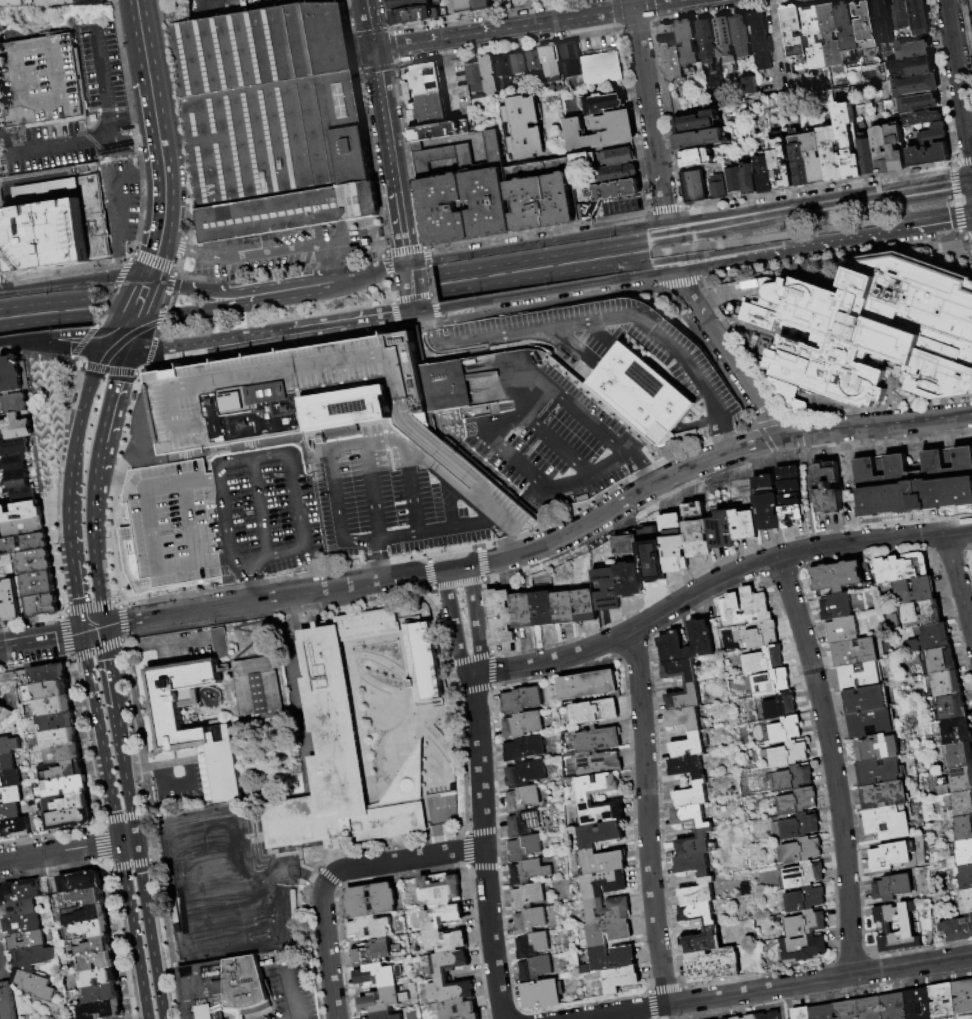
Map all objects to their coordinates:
building: (556, 0)
building: (522, 1)
building: (60, 2)
building: (94, 2)
building: (404, 3)
building: (971, 4)
building: (480, 5)
building: (464, 6)
road: (772, 7)
building: (415, 15)
road: (587, 15)
building: (901, 15)
building: (919, 17)
building: (883, 21)
building: (865, 22)
road: (369, 24)
building: (847, 28)
building: (795, 34)
road: (47, 35)
building: (831, 35)
building: (741, 37)
building: (813, 37)
road: (433, 40)
building: (706, 41)
building: (725, 41)
building: (759, 41)
building: (688, 43)
building: (912, 50)
building: (671, 52)
road: (779, 55)
building: (570, 58)
building: (534, 60)
building: (552, 63)
parking lot: (100, 66)
building: (519, 66)
building: (602, 68)
building: (906, 68)
road: (148, 70)
building: (504, 70)
building: (490, 75)
parking lot: (40, 76)
building: (475, 77)
road: (101, 78)
building: (428, 80)
road: (959, 80)
building: (40, 82)
building: (915, 85)
building: (748, 86)
building: (604, 103)
building: (918, 103)
road: (649, 109)
building: (431, 110)
building: (924, 118)
building: (272, 120)
road: (385, 120)
building: (695, 123)
building: (524, 127)
building: (440, 131)
building: (623, 131)
building: (933, 135)
building: (697, 139)
building: (847, 140)
road: (55, 144)
road: (128, 144)
building: (894, 148)
road: (585, 151)
building: (881, 151)
building: (831, 154)
road: (162, 155)
building: (459, 155)
building: (927, 155)
building: (866, 156)
building: (616, 157)
building: (695, 158)
building: (814, 159)
building: (799, 161)
building: (582, 164)
building: (780, 164)
road: (151, 174)
building: (616, 174)
building: (763, 174)
building: (733, 180)
building: (748, 180)
building: (692, 188)
building: (617, 190)
building: (717, 190)
road: (892, 194)
road: (165, 199)
parking lot: (121, 201)
building: (543, 202)
building: (488, 203)
road: (117, 206)
parking lot: (623, 206)
building: (445, 210)
building: (588, 211)
building: (94, 218)
building: (48, 227)
road: (402, 227)
road: (890, 227)
road: (609, 229)
road: (169, 238)
road: (623, 244)
flagpole: (949, 248)
road: (155, 254)
road: (258, 254)
road: (153, 259)
road: (622, 263)
road: (115, 268)
road: (122, 271)
road: (334, 272)
road: (365, 272)
road: (128, 279)
traffic signals: (144, 281)
road: (613, 282)
road: (56, 283)
road: (412, 287)
road: (298, 289)
road: (208, 290)
road: (150, 297)
road: (126, 301)
road: (44, 302)
road: (104, 308)
road: (206, 309)
traffic signals: (145, 315)
road: (158, 319)
road: (45, 320)
road: (129, 320)
road: (142, 320)
road: (432, 320)
road: (350, 321)
traffic signals: (114, 326)
building: (872, 329)
road: (530, 332)
road: (73, 333)
road: (120, 336)
road: (108, 338)
road: (132, 339)
road: (16, 341)
road: (80, 343)
road: (67, 345)
road: (205, 345)
traffic signals: (103, 350)
road: (114, 351)
traffic signals: (125, 352)
road: (728, 355)
road: (81, 367)
road: (104, 367)
road: (640, 368)
building: (13, 374)
road: (696, 376)
building: (2, 382)
road: (73, 383)
road: (296, 389)
road: (86, 391)
building: (637, 393)
road: (110, 394)
road: (631, 397)
building: (790, 397)
building: (13, 403)
building: (298, 403)
road: (50, 410)
building: (474, 410)
road: (176, 412)
road: (374, 414)
road: (523, 415)
road: (596, 424)
road: (367, 426)
building: (16, 427)
road: (314, 429)
road: (433, 431)
road: (423, 436)
road: (265, 444)
road: (366, 444)
road: (314, 445)
road: (557, 446)
building: (15, 447)
road: (801, 449)
road: (471, 458)
road: (289, 460)
road: (70, 461)
building: (13, 463)
road: (149, 465)
road: (646, 475)
building: (16, 480)
road: (182, 482)
building: (914, 483)
road: (556, 485)
building: (828, 488)
road: (413, 489)
road: (458, 491)
road: (371, 492)
building: (22, 495)
building: (790, 497)
parking lot: (401, 499)
building: (766, 504)
road: (335, 506)
road: (67, 508)
road: (259, 508)
building: (21, 512)
parking lot: (225, 516)
road: (225, 518)
road: (188, 524)
road: (811, 524)
building: (745, 525)
building: (23, 527)
road: (151, 529)
road: (428, 530)
building: (722, 530)
building: (697, 531)
building: (23, 544)
road: (546, 544)
building: (674, 544)
road: (514, 545)
building: (626, 545)
road: (266, 557)
road: (376, 560)
building: (35, 562)
road: (193, 565)
building: (653, 565)
building: (901, 567)
building: (836, 575)
road: (72, 579)
building: (630, 579)
road: (250, 581)
road: (715, 581)
road: (958, 583)
building: (39, 584)
building: (922, 586)
building: (607, 589)
building: (9, 600)
building: (836, 605)
building: (43, 606)
building: (586, 606)
road: (100, 608)
building: (543, 608)
building: (564, 608)
building: (745, 608)
building: (1, 611)
building: (522, 611)
building: (929, 614)
road: (317, 616)
building: (499, 618)
road: (475, 621)
road: (453, 624)
traffic signals: (103, 626)
building: (842, 629)
traffic signals: (82, 632)
building: (762, 635)
road: (185, 638)
building: (930, 638)
road: (52, 639)
building: (670, 642)
road: (133, 647)
road: (295, 652)
building: (854, 652)
building: (940, 659)
building: (762, 660)
building: (679, 670)
building: (49, 673)
building: (861, 676)
building: (774, 683)
building: (945, 683)
building: (588, 685)
building: (51, 689)
building: (258, 690)
building: (684, 697)
building: (866, 699)
building: (522, 700)
road: (411, 703)
building: (54, 706)
road: (94, 706)
building: (779, 706)
building: (951, 707)
building: (596, 711)
building: (5, 714)
building: (565, 715)
building: (683, 718)
building: (57, 722)
building: (871, 723)
building: (523, 724)
building: (171, 728)
building: (785, 730)
building: (955, 731)
building: (348, 737)
building: (59, 738)
building: (598, 741)
building: (9, 746)
road: (384, 747)
building: (689, 747)
building: (877, 747)
building: (524, 749)
building: (63, 754)
building: (786, 754)
building: (959, 755)
road: (832, 762)
building: (7, 763)
building: (600, 764)
building: (687, 767)
building: (878, 770)
building: (526, 773)
building: (63, 778)
building: (792, 778)
building: (10, 779)
building: (958, 781)
building: (598, 785)
building: (208, 790)
building: (10, 795)
building: (692, 795)
building: (883, 795)
building: (209, 797)
building: (523, 798)
building: (797, 801)
building: (67, 802)
building: (962, 803)
building: (10, 812)
building: (602, 812)
road: (445, 813)
road: (647, 816)
building: (690, 816)
building: (69, 819)
building: (887, 822)
building: (524, 823)
building: (799, 826)
building: (14, 828)
building: (963, 828)
road: (438, 834)
building: (600, 835)
traffic signals: (134, 841)
traffic signals: (118, 843)
building: (696, 844)
road: (483, 847)
building: (525, 847)
building: (801, 850)
road: (67, 851)
building: (964, 852)
building: (890, 855)
road: (403, 859)
building: (602, 862)
building: (693, 864)
building: (528, 872)
building: (803, 875)
building: (965, 876)
building: (80, 881)
building: (604, 883)
park: (218, 887)
building: (891, 887)
building: (19, 891)
building: (439, 891)
building: (698, 893)
building: (528, 896)
road: (143, 898)
building: (83, 899)
road: (127, 899)
building: (805, 899)
building: (371, 900)
building: (965, 901)
building: (18, 908)
building: (607, 909)
building: (697, 913)
building: (85, 914)
building: (442, 916)
building: (530, 920)
building: (805, 923)
building: (971, 923)
building: (22, 924)
building: (370, 927)
building: (907, 927)
building: (87, 930)
building: (955, 930)
building: (607, 932)
building: (26, 940)
building: (446, 941)
building: (702, 941)
building: (533, 944)
building: (89, 947)
road: (326, 948)
building: (803, 948)
building: (376, 952)
building: (33, 956)
building: (610, 959)
building: (96, 962)
building: (449, 962)
building: (712, 965)
building: (536, 969)
building: (379, 975)
building: (99, 978)
building: (622, 980)
building: (34, 985)
road: (775, 987)
building: (222, 989)
building: (450, 990)
building: (101, 993)
road: (297, 993)
building: (543, 994)
building: (963, 996)
building: (382, 1000)
building: (7, 1001)
building: (943, 1001)
road: (780, 1003)
building: (919, 1004)
building: (894, 1006)
building: (869, 1008)
building: (101, 1009)
building: (460, 1010)
building: (846, 1010)
building: (823, 1012)
building: (801, 1013)
building: (768, 1015)
building: (384, 1016)
road: (137, 1017)
building: (750, 1017)
building: (737, 1018)

